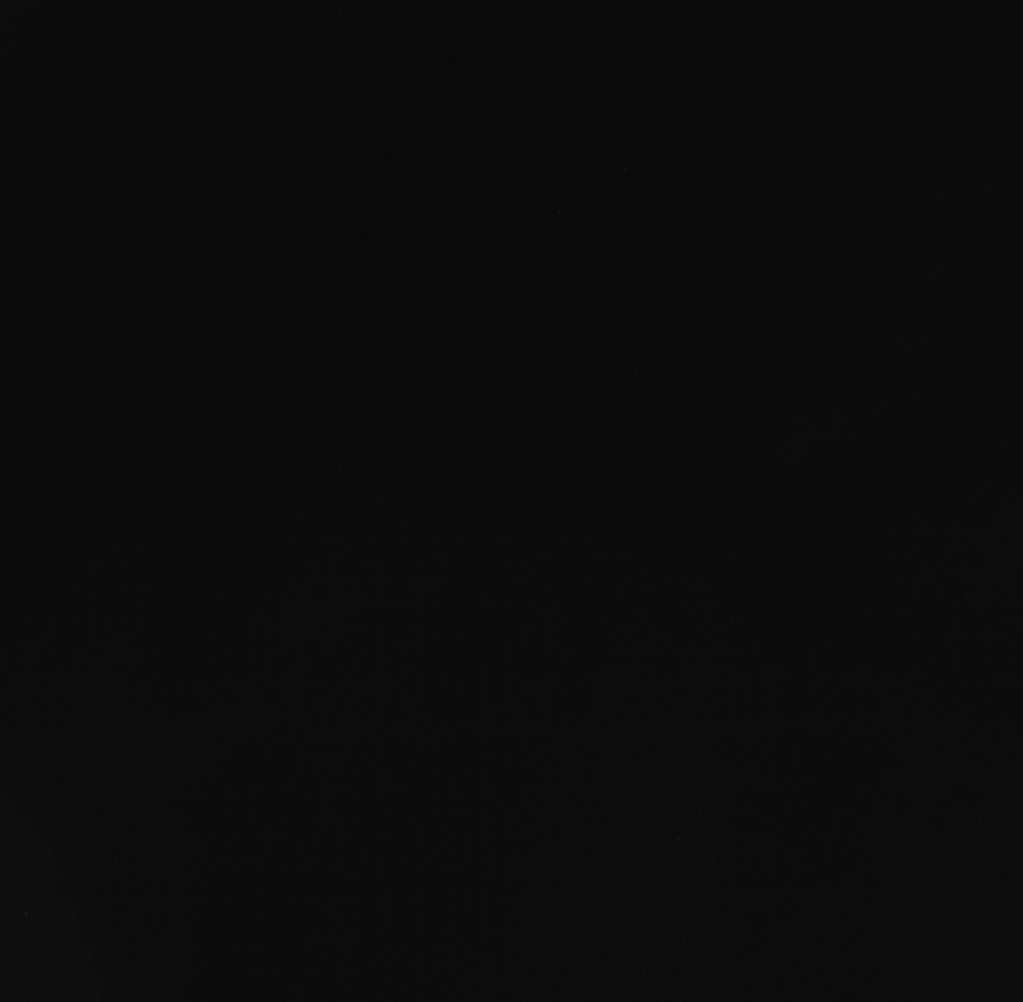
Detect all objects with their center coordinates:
river: (281, 560)

